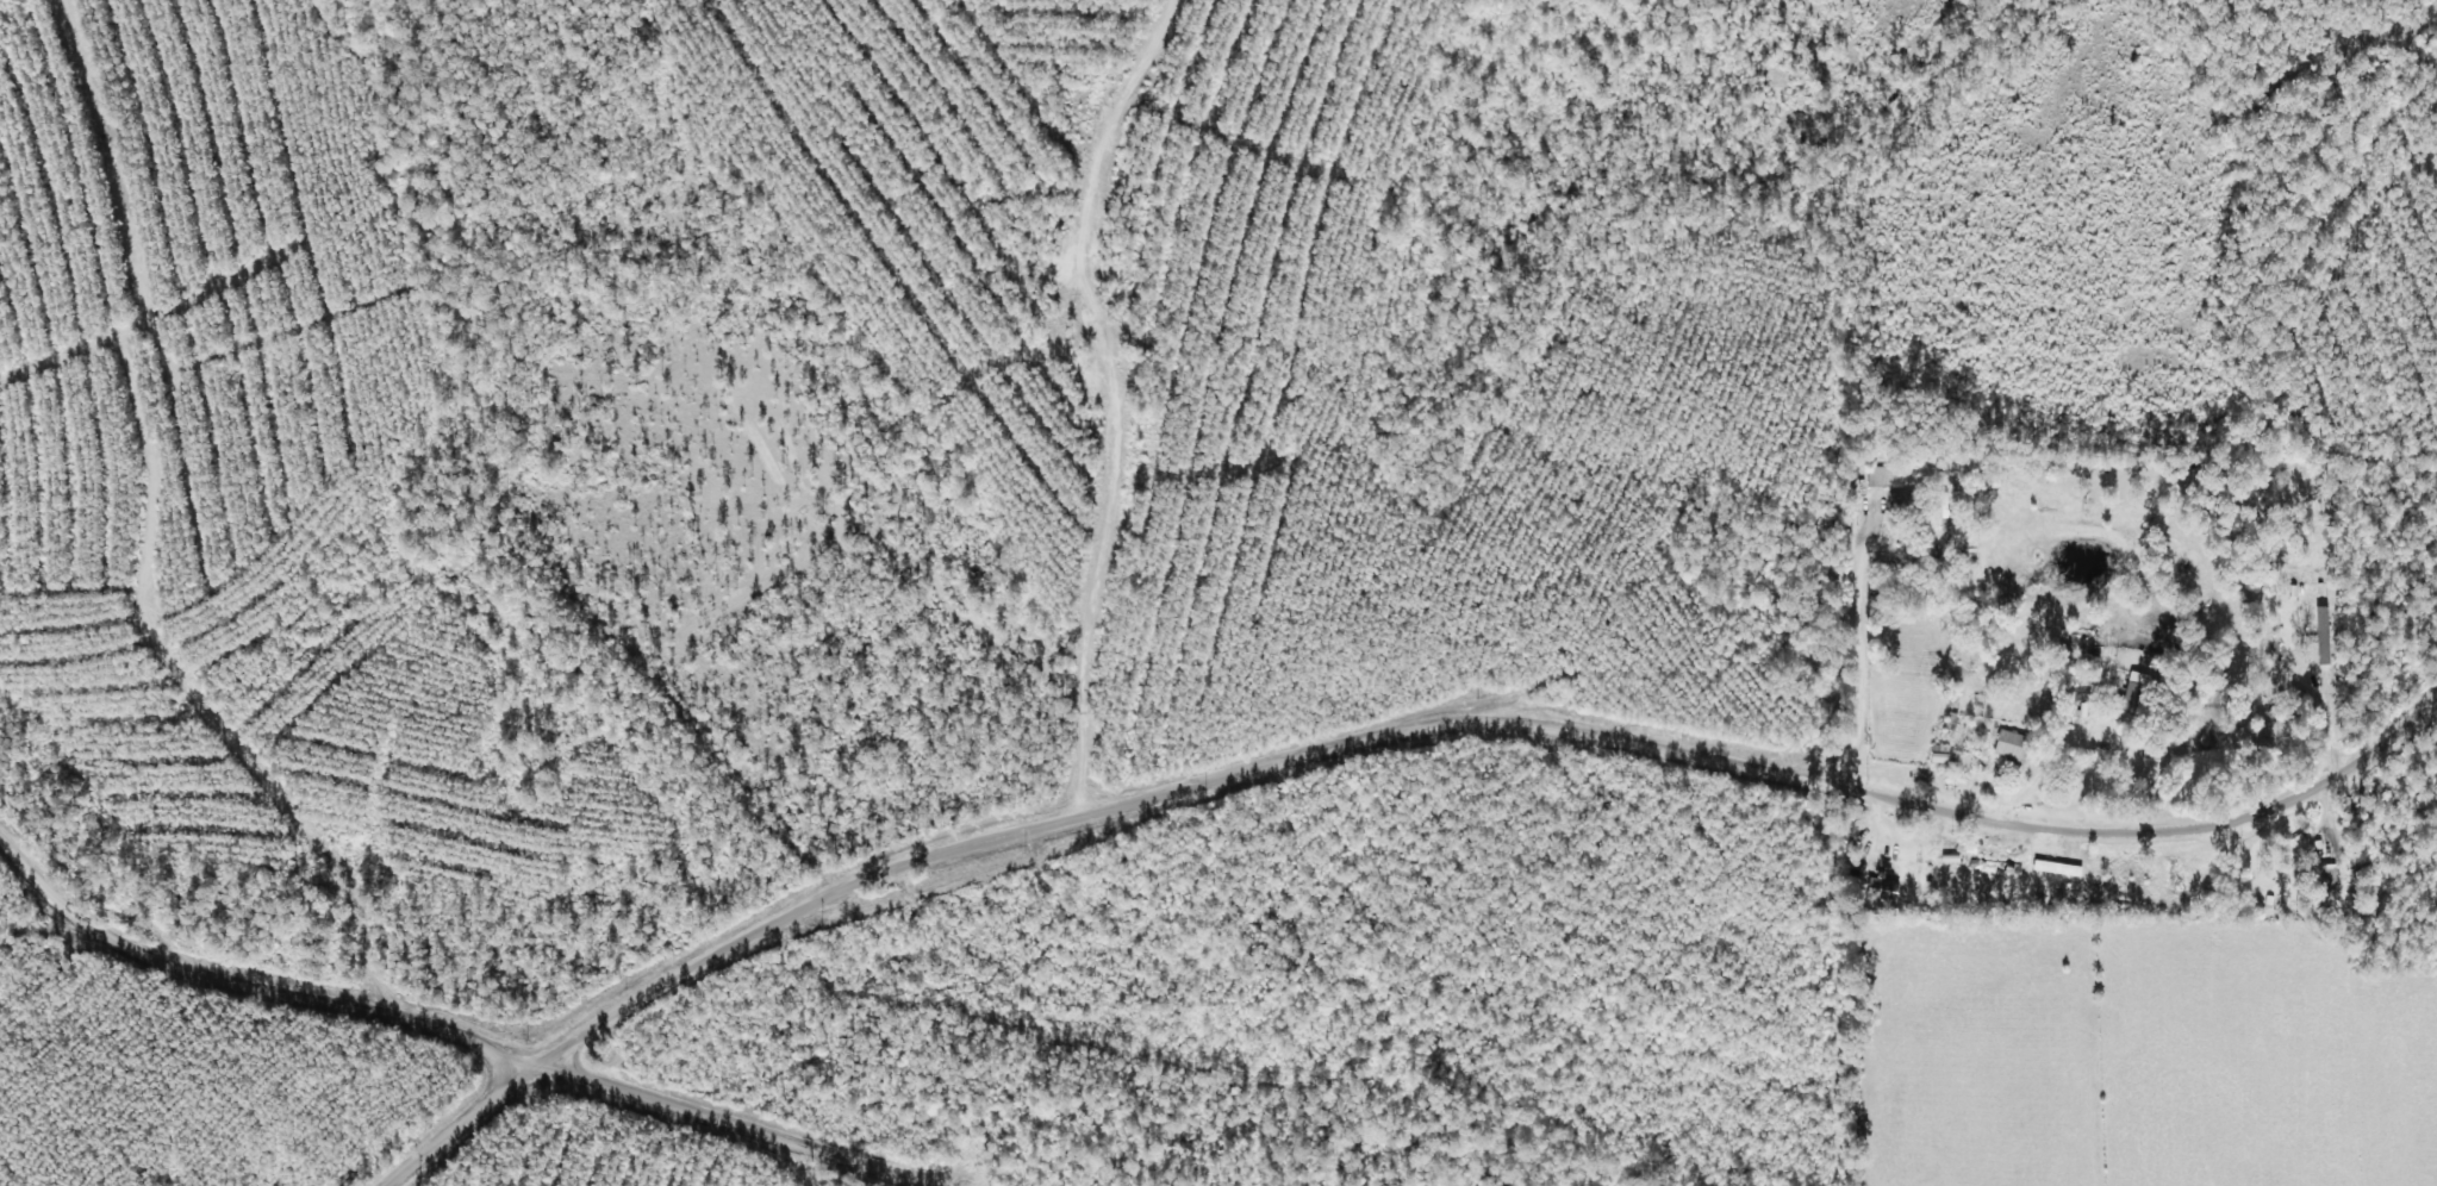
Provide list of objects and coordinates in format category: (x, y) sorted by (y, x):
road: (1030, 406)
building: (1883, 477)
building: (1914, 506)
building: (2142, 694)
road: (1357, 738)
building: (2018, 747)
building: (2002, 868)
building: (2335, 875)
building: (1888, 891)
road: (444, 1043)

